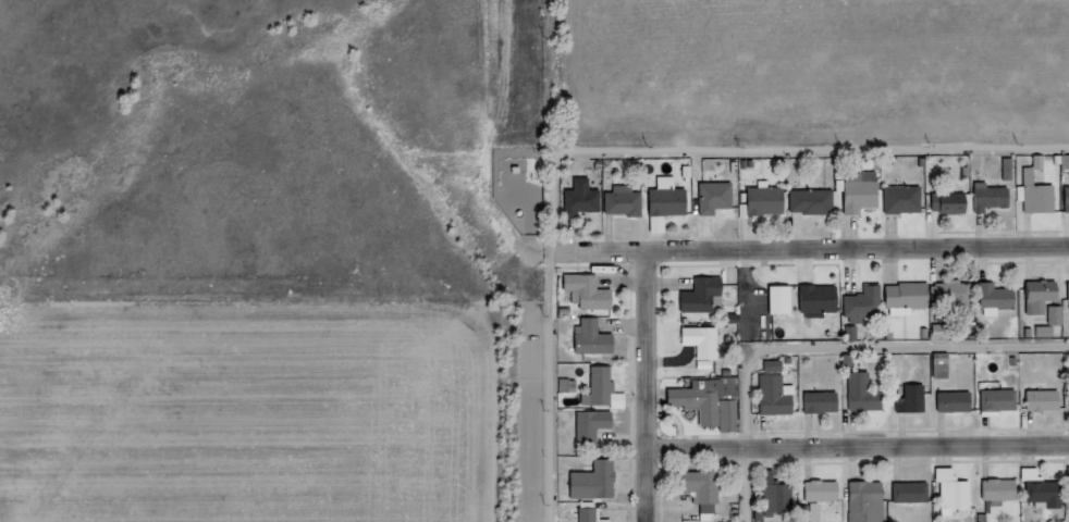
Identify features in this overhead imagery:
road: (630, 154)
building: (1067, 162)
building: (1068, 197)
building: (863, 198)
building: (1043, 199)
building: (721, 200)
building: (994, 201)
building: (587, 202)
building: (908, 203)
building: (628, 204)
building: (769, 204)
building: (818, 204)
building: (672, 206)
building: (954, 207)
road: (814, 250)
building: (593, 295)
building: (959, 297)
building: (1044, 298)
building: (912, 299)
building: (998, 300)
building: (708, 302)
building: (822, 302)
building: (869, 308)
building: (1057, 314)
building: (1048, 330)
building: (944, 331)
building: (855, 333)
building: (598, 343)
building: (709, 346)
road: (832, 352)
building: (944, 364)
building: (570, 384)
road: (653, 387)
building: (779, 389)
building: (603, 393)
building: (865, 393)
building: (914, 399)
building: (1002, 399)
building: (1047, 399)
building: (825, 401)
building: (959, 401)
building: (716, 406)
building: (597, 428)
road: (861, 447)
building: (1033, 473)
building: (601, 486)
building: (1003, 488)
building: (708, 489)
building: (825, 490)
building: (956, 490)
building: (914, 492)
building: (1050, 493)
building: (778, 496)
building: (870, 501)
building: (592, 517)

